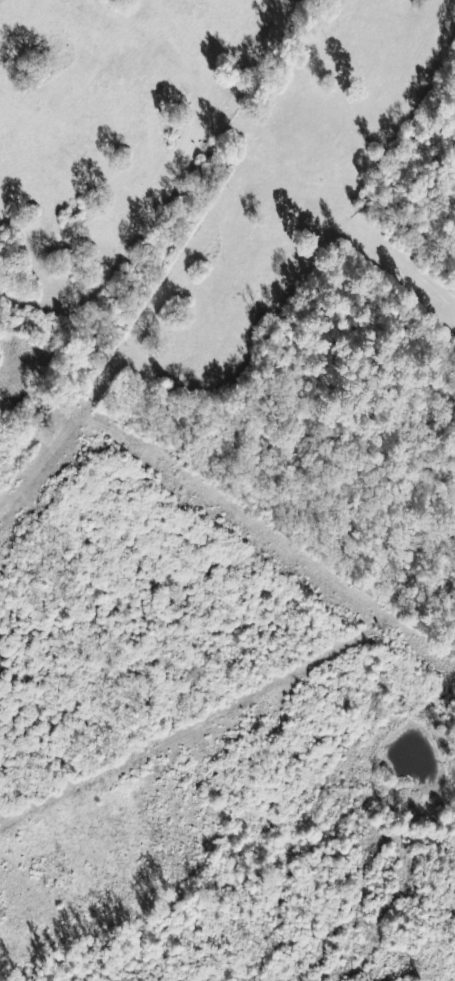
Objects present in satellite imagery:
road: (189, 270)

